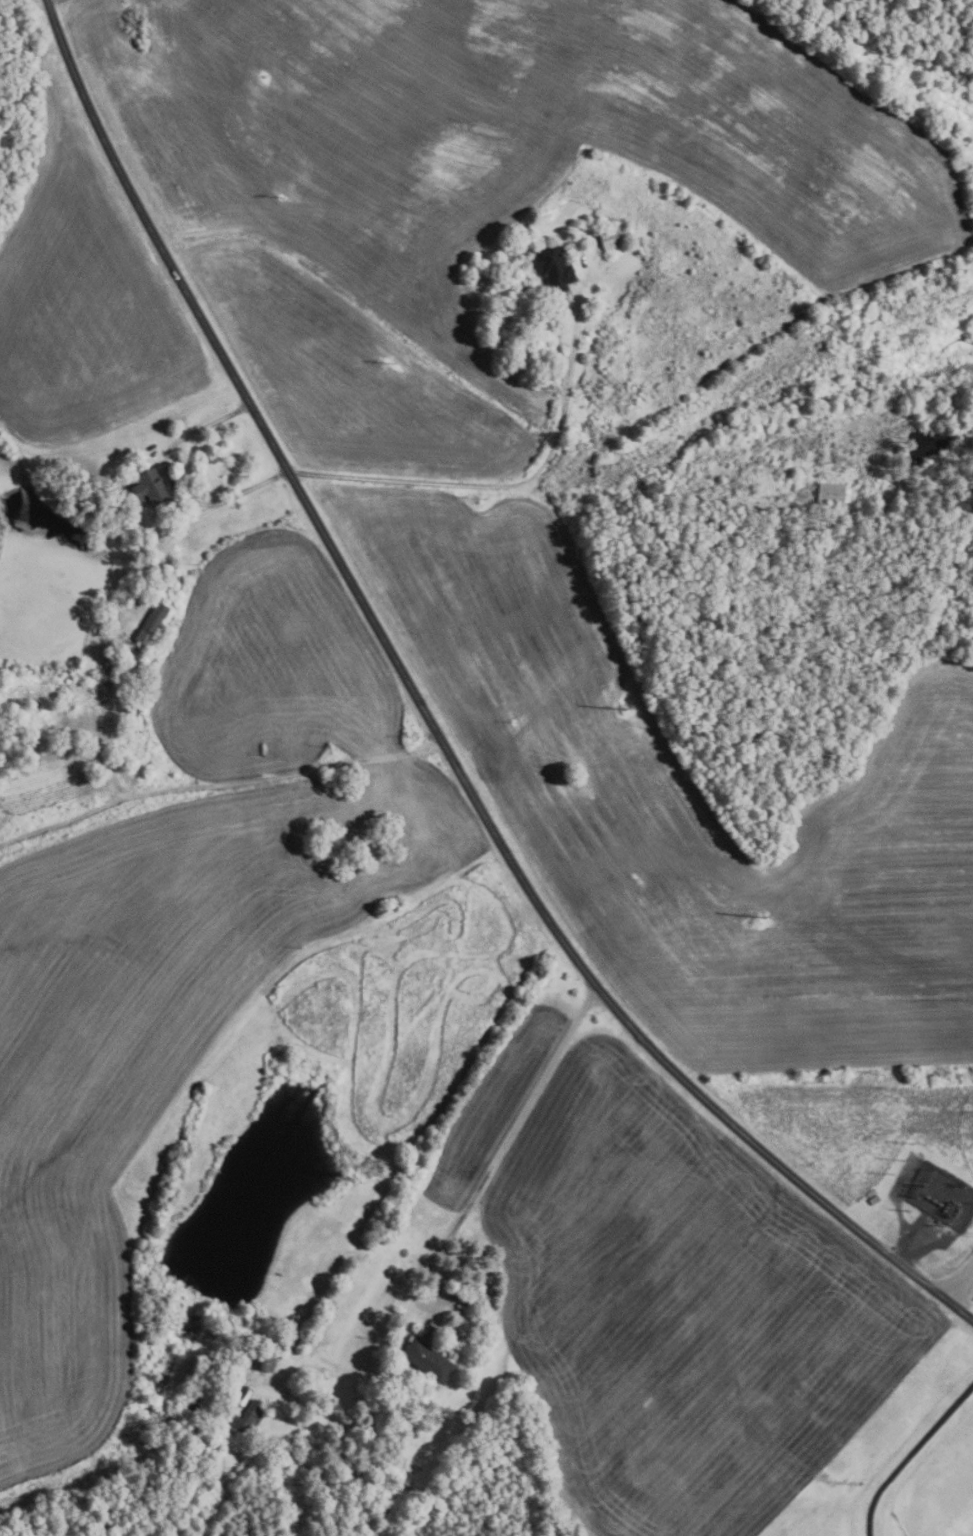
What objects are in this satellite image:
road: (55, 2)
power tower: (283, 200)
building: (610, 237)
building: (553, 268)
power tower: (394, 360)
road: (172, 484)
road: (492, 485)
building: (150, 489)
building: (830, 494)
power tower: (483, 499)
building: (105, 533)
building: (154, 624)
power tower: (622, 712)
road: (429, 721)
road: (218, 785)
power tower: (762, 917)
power tower: (881, 1074)
power tower: (912, 1141)
road: (481, 1180)
power tower: (921, 1185)
power substation: (941, 1195)
building: (425, 1359)
building: (264, 1363)
building: (242, 1421)
road: (911, 1457)

